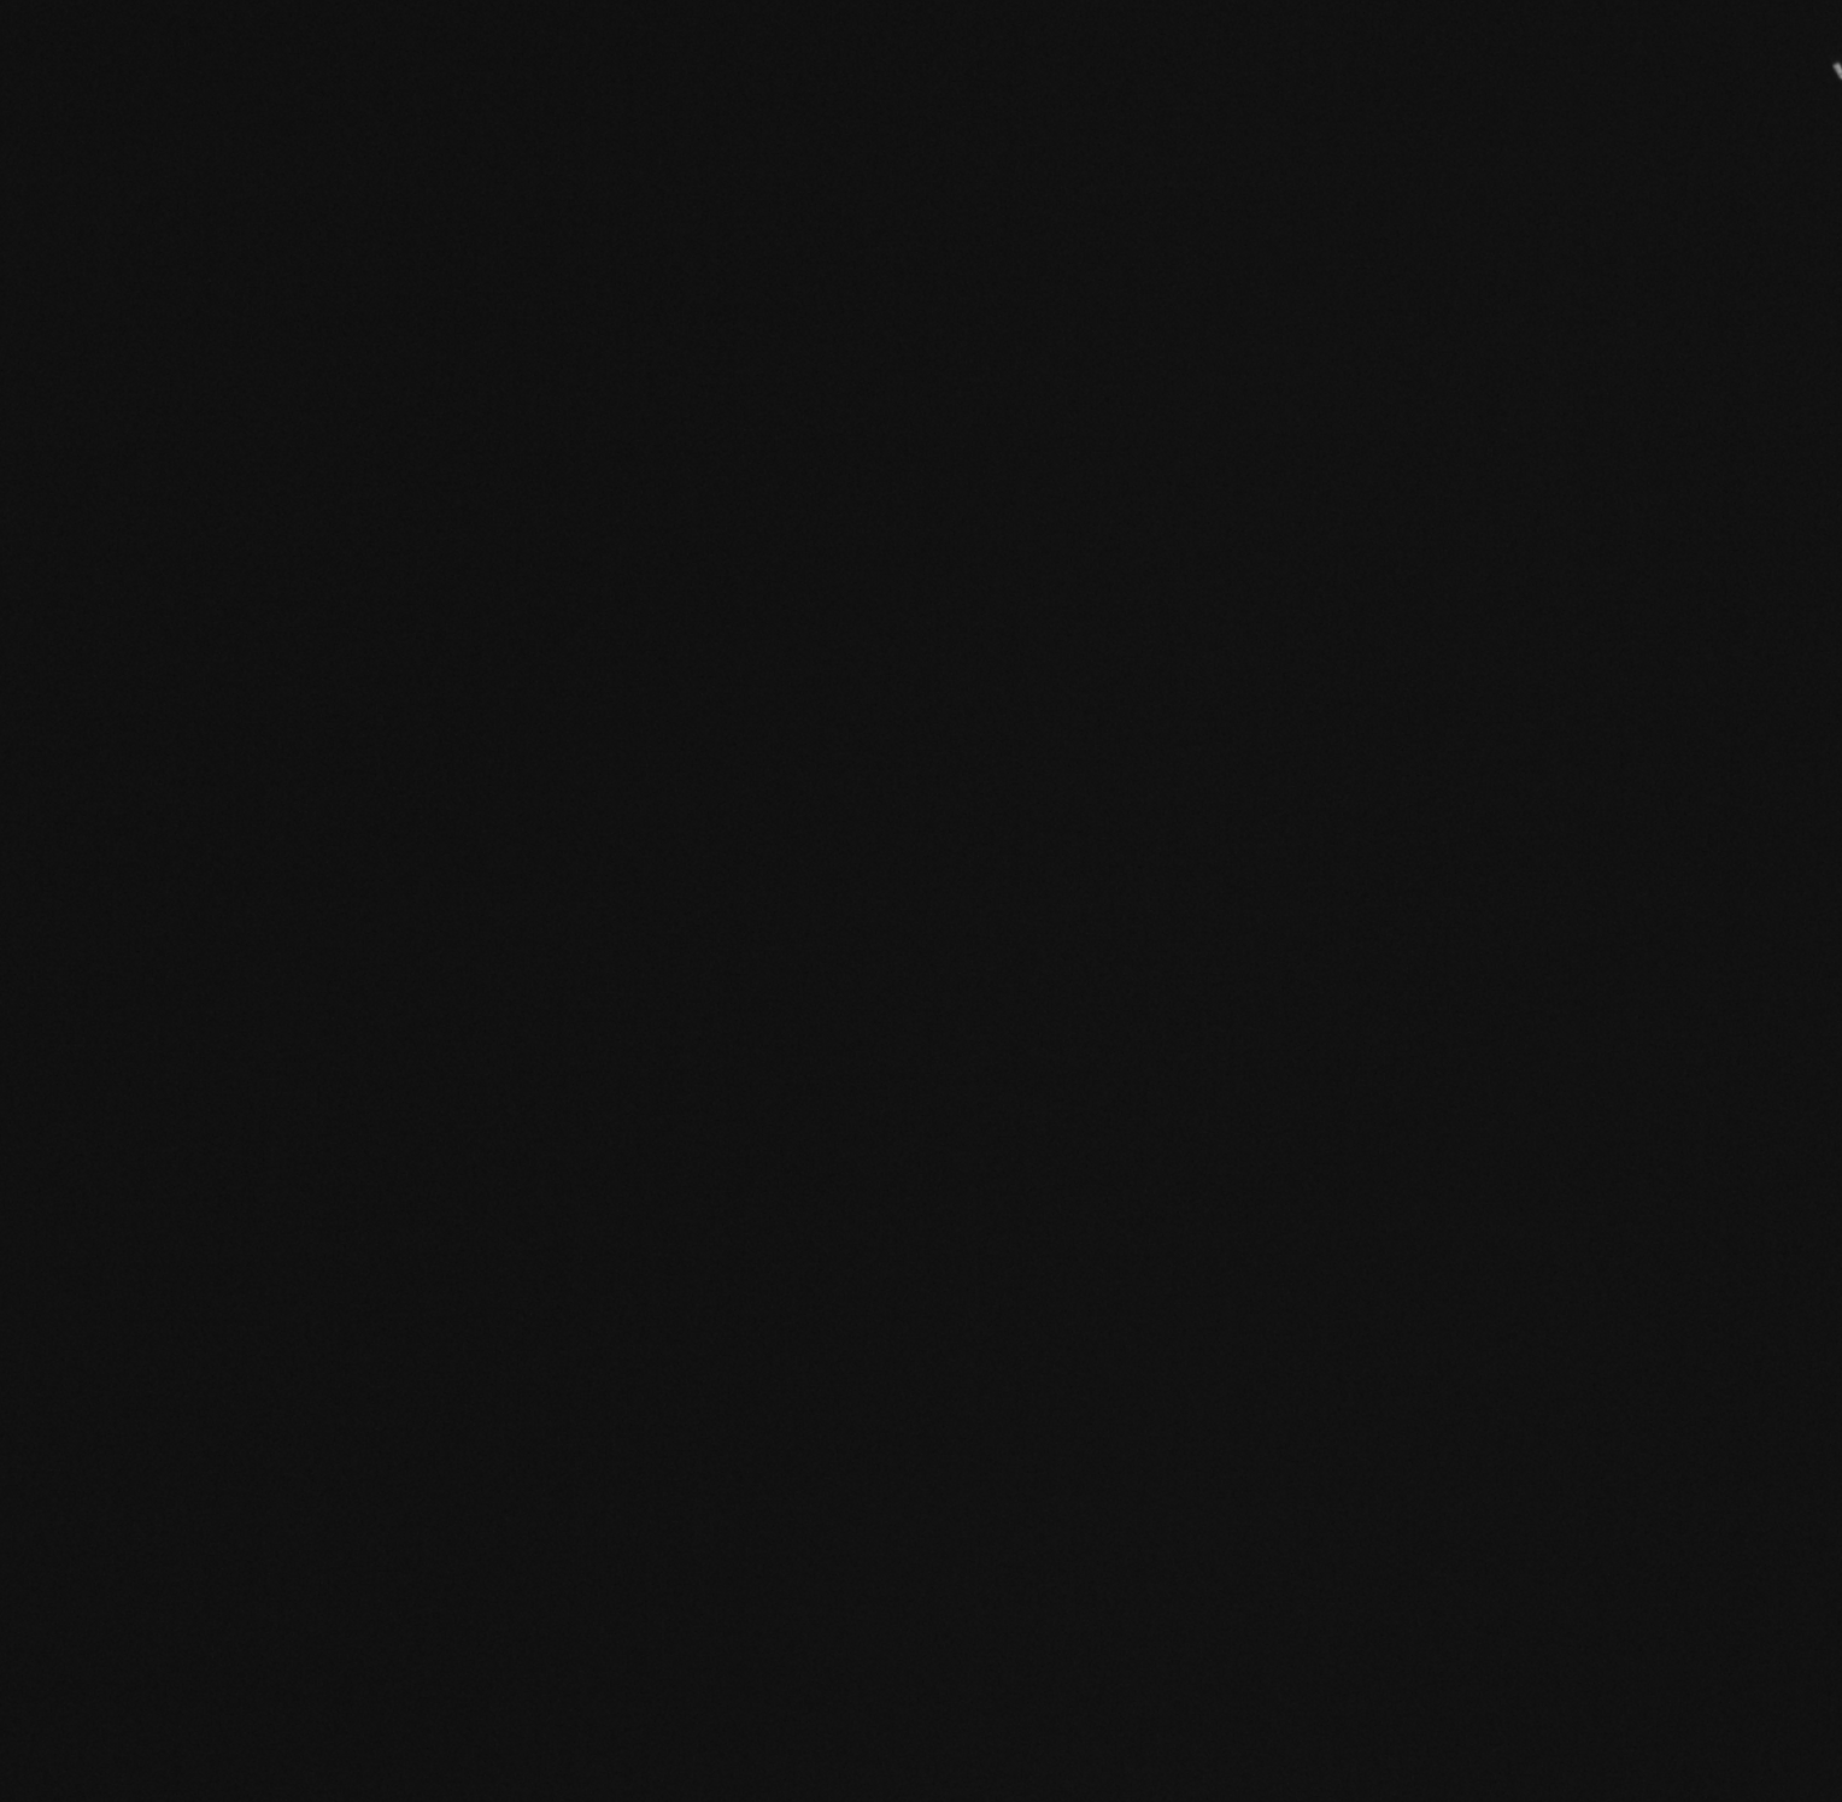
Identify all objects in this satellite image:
river: (92, 1229)

